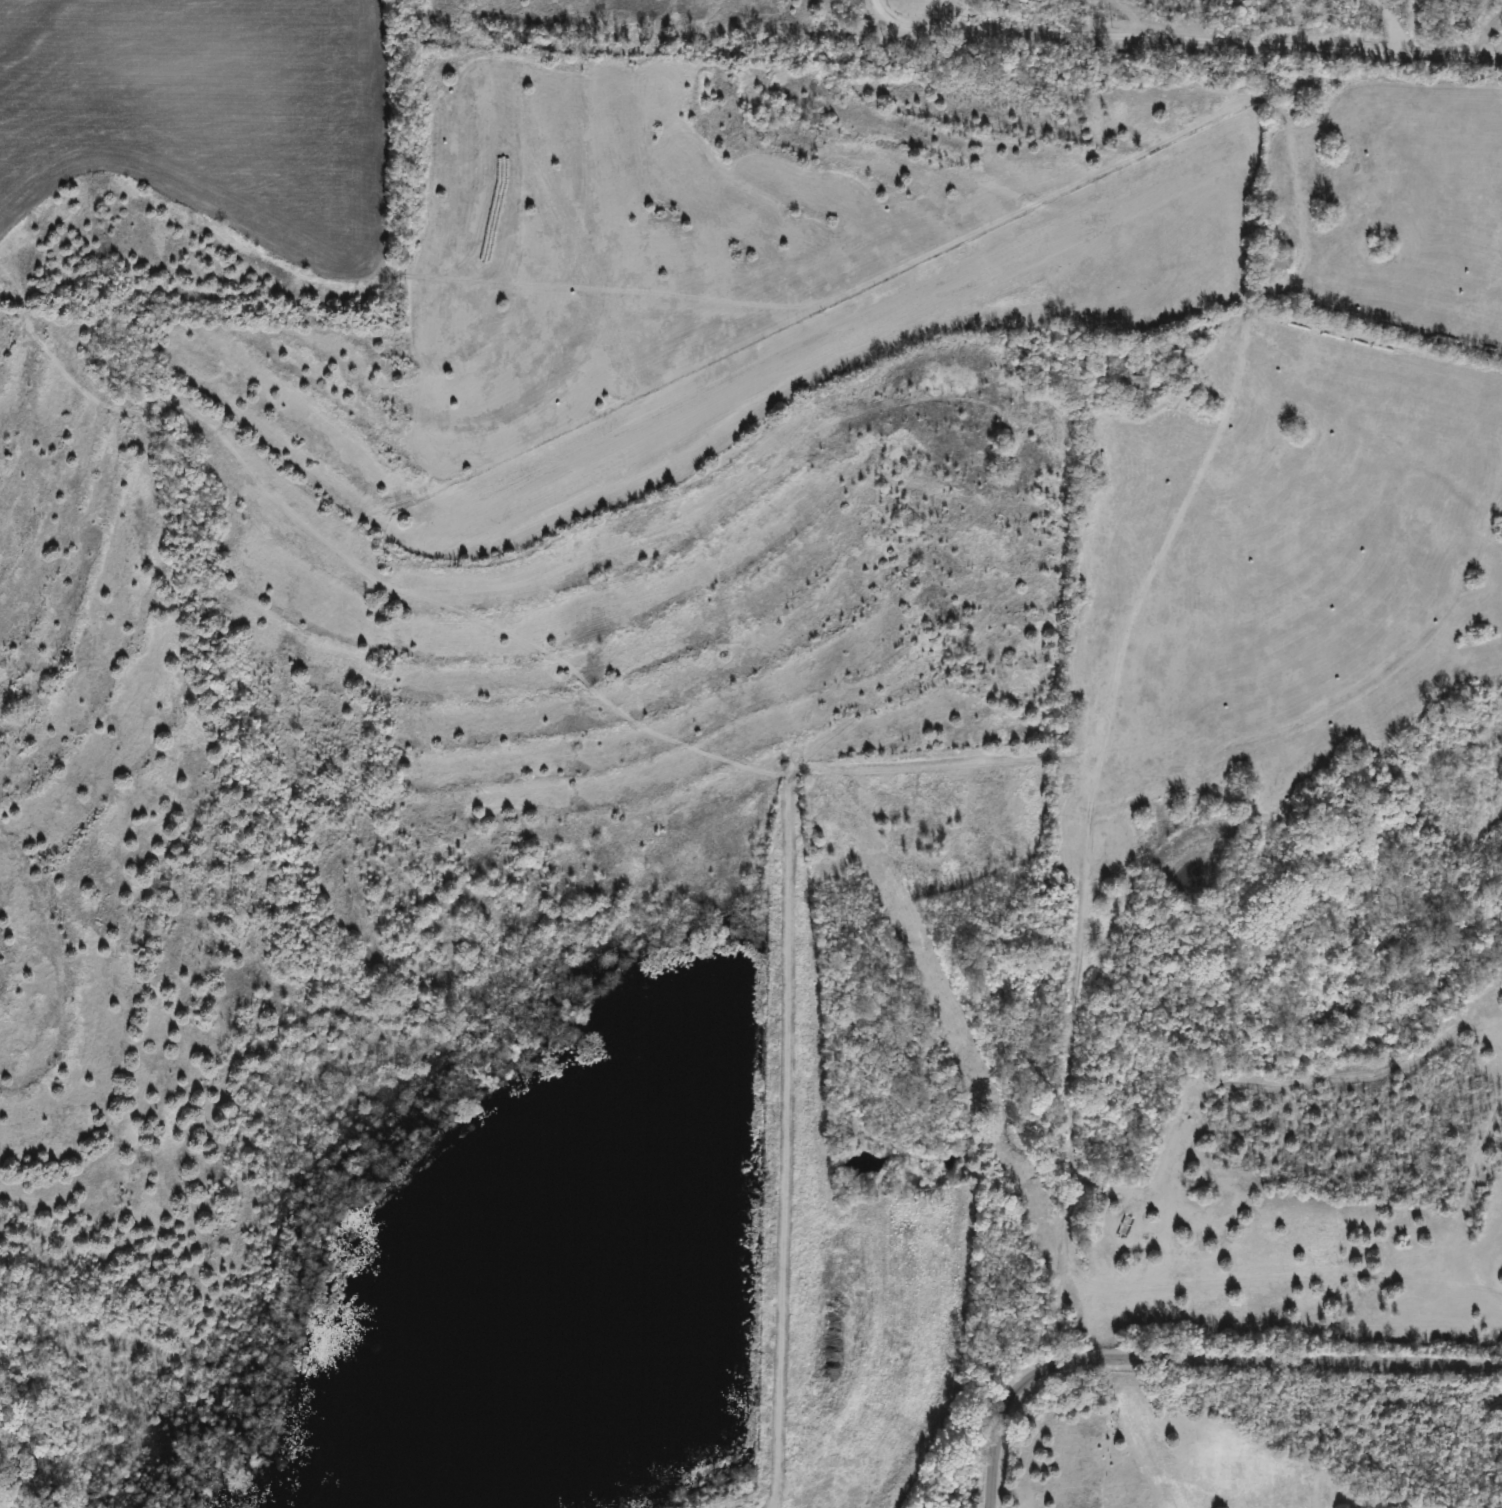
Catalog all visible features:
road: (1394, 20)
road: (1180, 37)
building: (1273, 260)
building: (1170, 350)
building: (1132, 379)
road: (1192, 1358)

